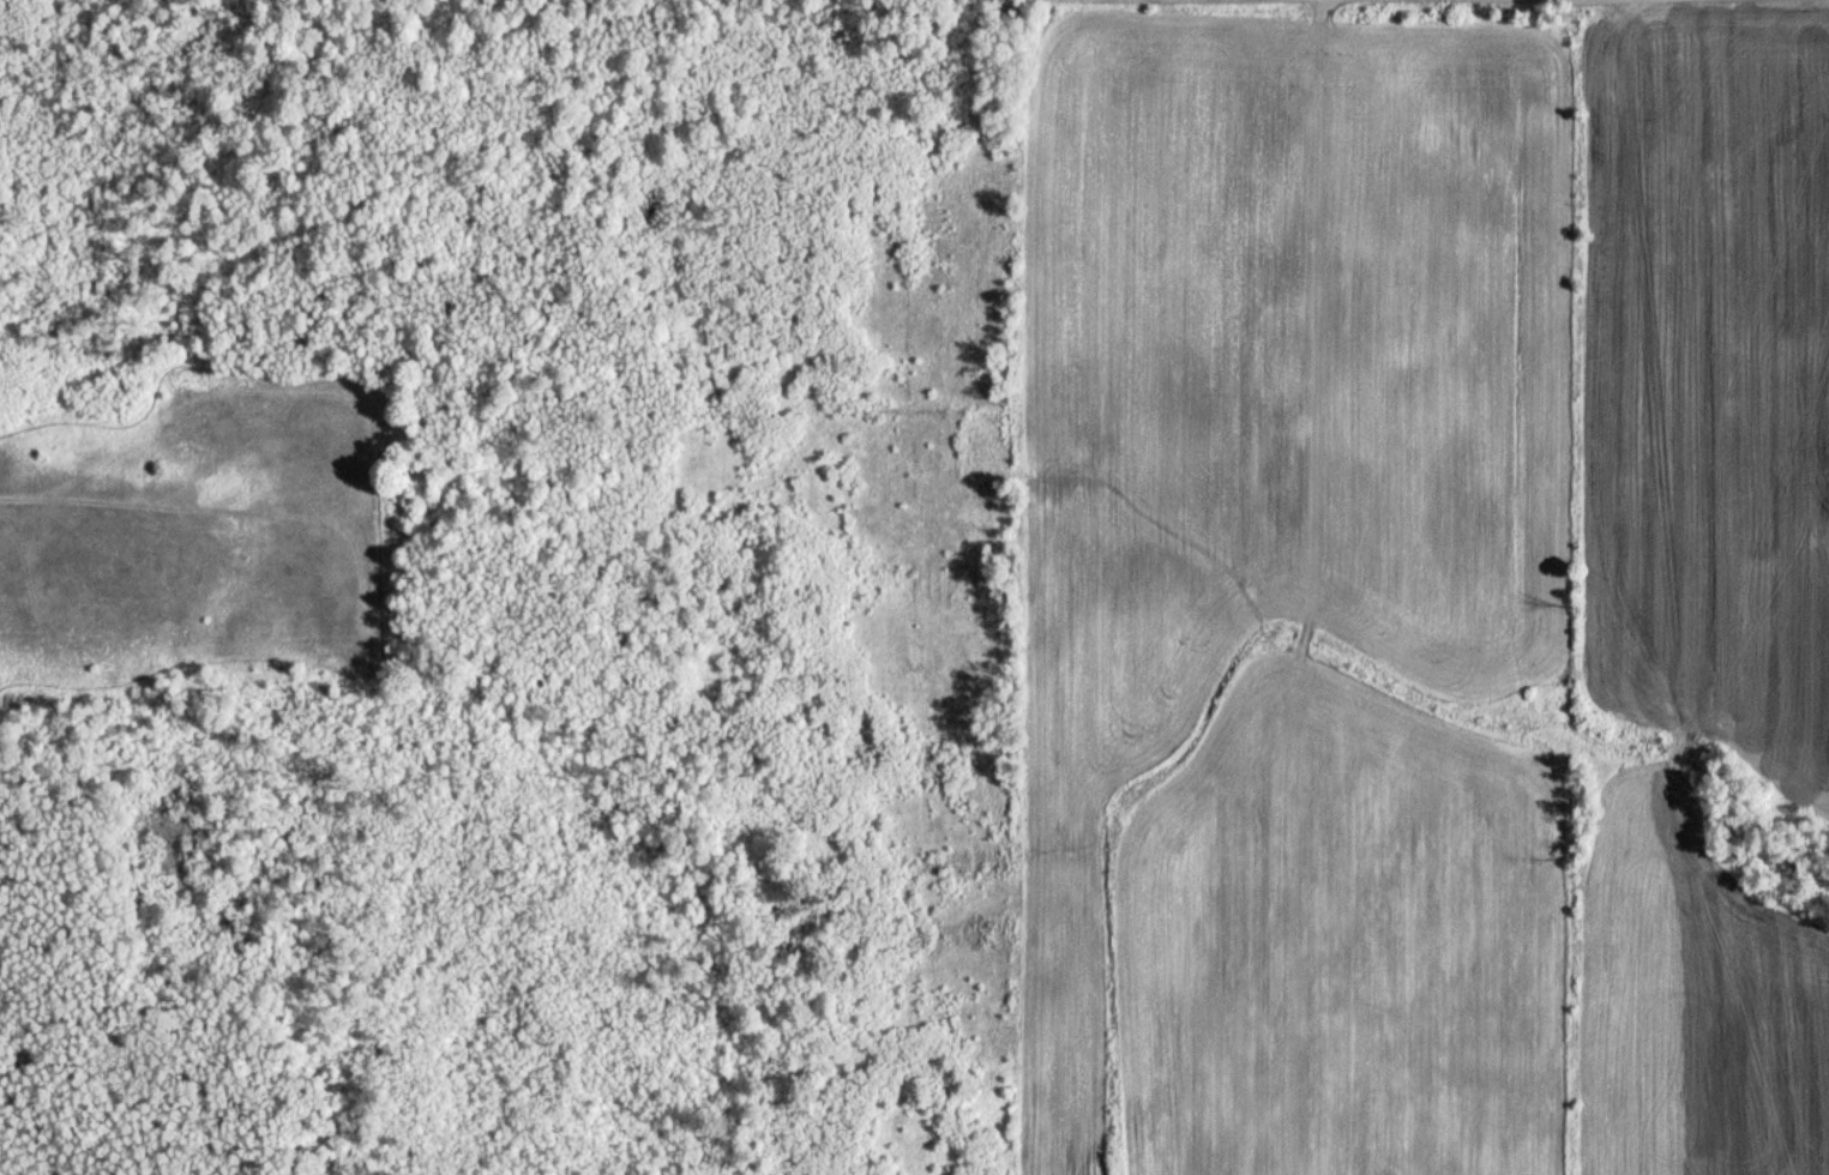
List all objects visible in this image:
road: (187, 506)

